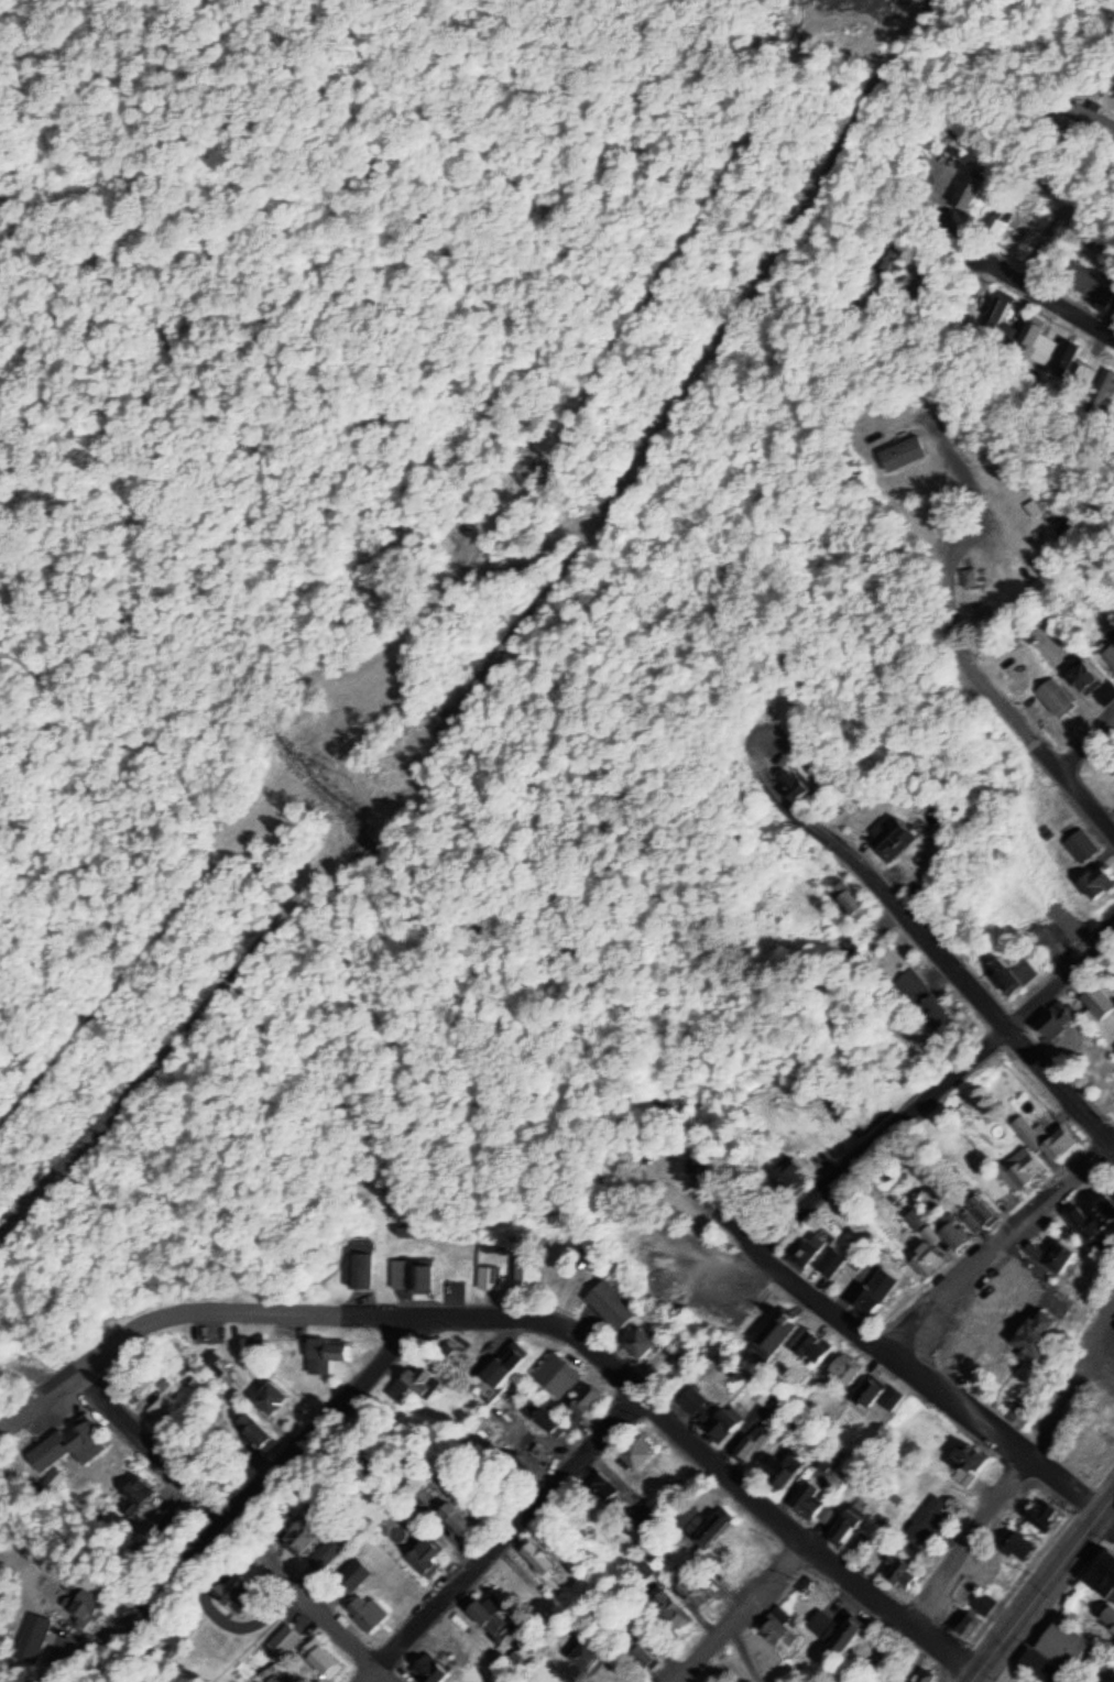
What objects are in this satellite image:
building: (1092, 116)
building: (954, 146)
building: (968, 190)
building: (1002, 217)
building: (891, 261)
building: (1091, 282)
road: (1041, 287)
building: (1002, 313)
building: (1055, 350)
building: (904, 452)
road: (976, 532)
building: (972, 576)
building: (1031, 636)
building: (1111, 653)
road: (504, 658)
building: (1085, 677)
building: (1106, 692)
building: (1057, 696)
road: (1039, 732)
road: (1089, 739)
building: (791, 780)
building: (888, 835)
building: (1080, 843)
building: (1093, 881)
building: (852, 898)
building: (849, 943)
road: (940, 947)
building: (1013, 973)
building: (925, 997)
building: (1055, 1018)
road: (939, 1083)
building: (1047, 1135)
road: (702, 1167)
building: (1024, 1170)
building: (790, 1176)
building: (982, 1205)
building: (1102, 1209)
building: (916, 1219)
building: (975, 1222)
building: (1082, 1223)
building: (932, 1233)
building: (957, 1233)
road: (997, 1244)
building: (808, 1249)
building: (1055, 1254)
building: (829, 1260)
building: (926, 1260)
building: (361, 1270)
building: (422, 1275)
building: (531, 1276)
building: (492, 1277)
building: (873, 1288)
building: (611, 1307)
road: (198, 1308)
building: (987, 1317)
building: (774, 1333)
building: (638, 1340)
building: (809, 1344)
building: (326, 1352)
building: (507, 1363)
building: (844, 1368)
building: (558, 1376)
road: (930, 1378)
building: (416, 1384)
building: (869, 1391)
building: (267, 1396)
building: (695, 1398)
building: (892, 1398)
building: (587, 1399)
building: (548, 1418)
building: (728, 1422)
building: (248, 1432)
building: (750, 1440)
building: (78, 1441)
road: (293, 1441)
building: (638, 1451)
building: (831, 1457)
road: (718, 1459)
building: (973, 1461)
building: (784, 1467)
building: (602, 1486)
building: (132, 1490)
building: (810, 1499)
road: (1110, 1509)
building: (451, 1517)
building: (1042, 1518)
building: (929, 1520)
building: (710, 1525)
building: (845, 1525)
road: (240, 1528)
building: (299, 1534)
road: (504, 1538)
road: (974, 1540)
building: (1016, 1544)
building: (430, 1554)
building: (645, 1568)
building: (358, 1572)
building: (903, 1572)
building: (1104, 1575)
building: (231, 1586)
road: (1041, 1588)
building: (697, 1590)
building: (92, 1603)
building: (370, 1610)
building: (673, 1612)
road: (743, 1612)
building: (979, 1614)
building: (1110, 1617)
building: (488, 1621)
building: (840, 1629)
building: (782, 1630)
building: (37, 1631)
building: (1063, 1642)
building: (642, 1652)
building: (586, 1656)
building: (326, 1658)
building: (1041, 1665)
building: (429, 1669)
building: (925, 1674)
road: (4, 1676)

